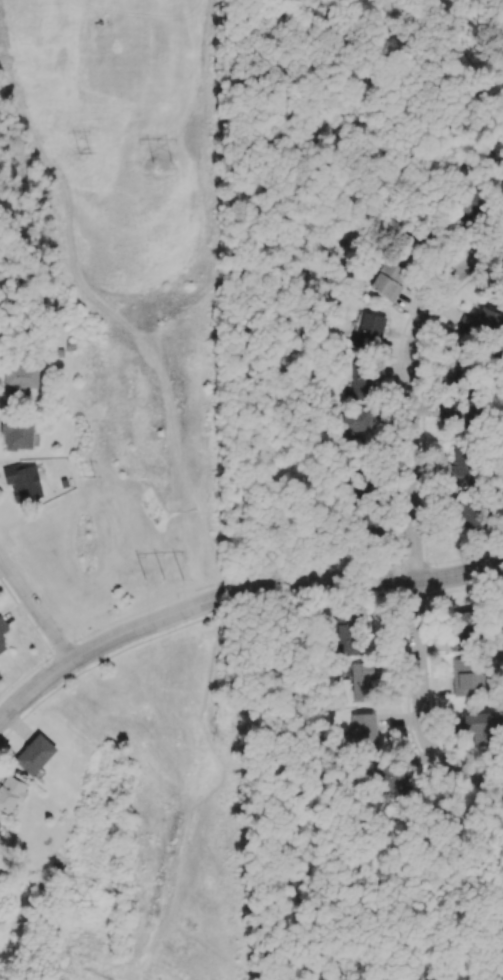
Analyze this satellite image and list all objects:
power tower: (87, 154)
power tower: (169, 156)
road: (393, 198)
building: (470, 205)
building: (387, 280)
building: (480, 323)
building: (369, 328)
building: (456, 368)
building: (363, 379)
road: (412, 393)
building: (461, 409)
road: (275, 413)
building: (356, 424)
building: (17, 432)
building: (459, 467)
power tower: (93, 476)
building: (363, 480)
building: (22, 482)
building: (466, 512)
power tower: (170, 581)
road: (235, 593)
road: (36, 610)
building: (462, 629)
building: (347, 639)
building: (2, 645)
building: (466, 676)
building: (361, 681)
road: (418, 707)
building: (481, 725)
building: (362, 729)
building: (34, 754)
building: (390, 777)
building: (11, 793)
building: (0, 824)
power tower: (91, 901)

